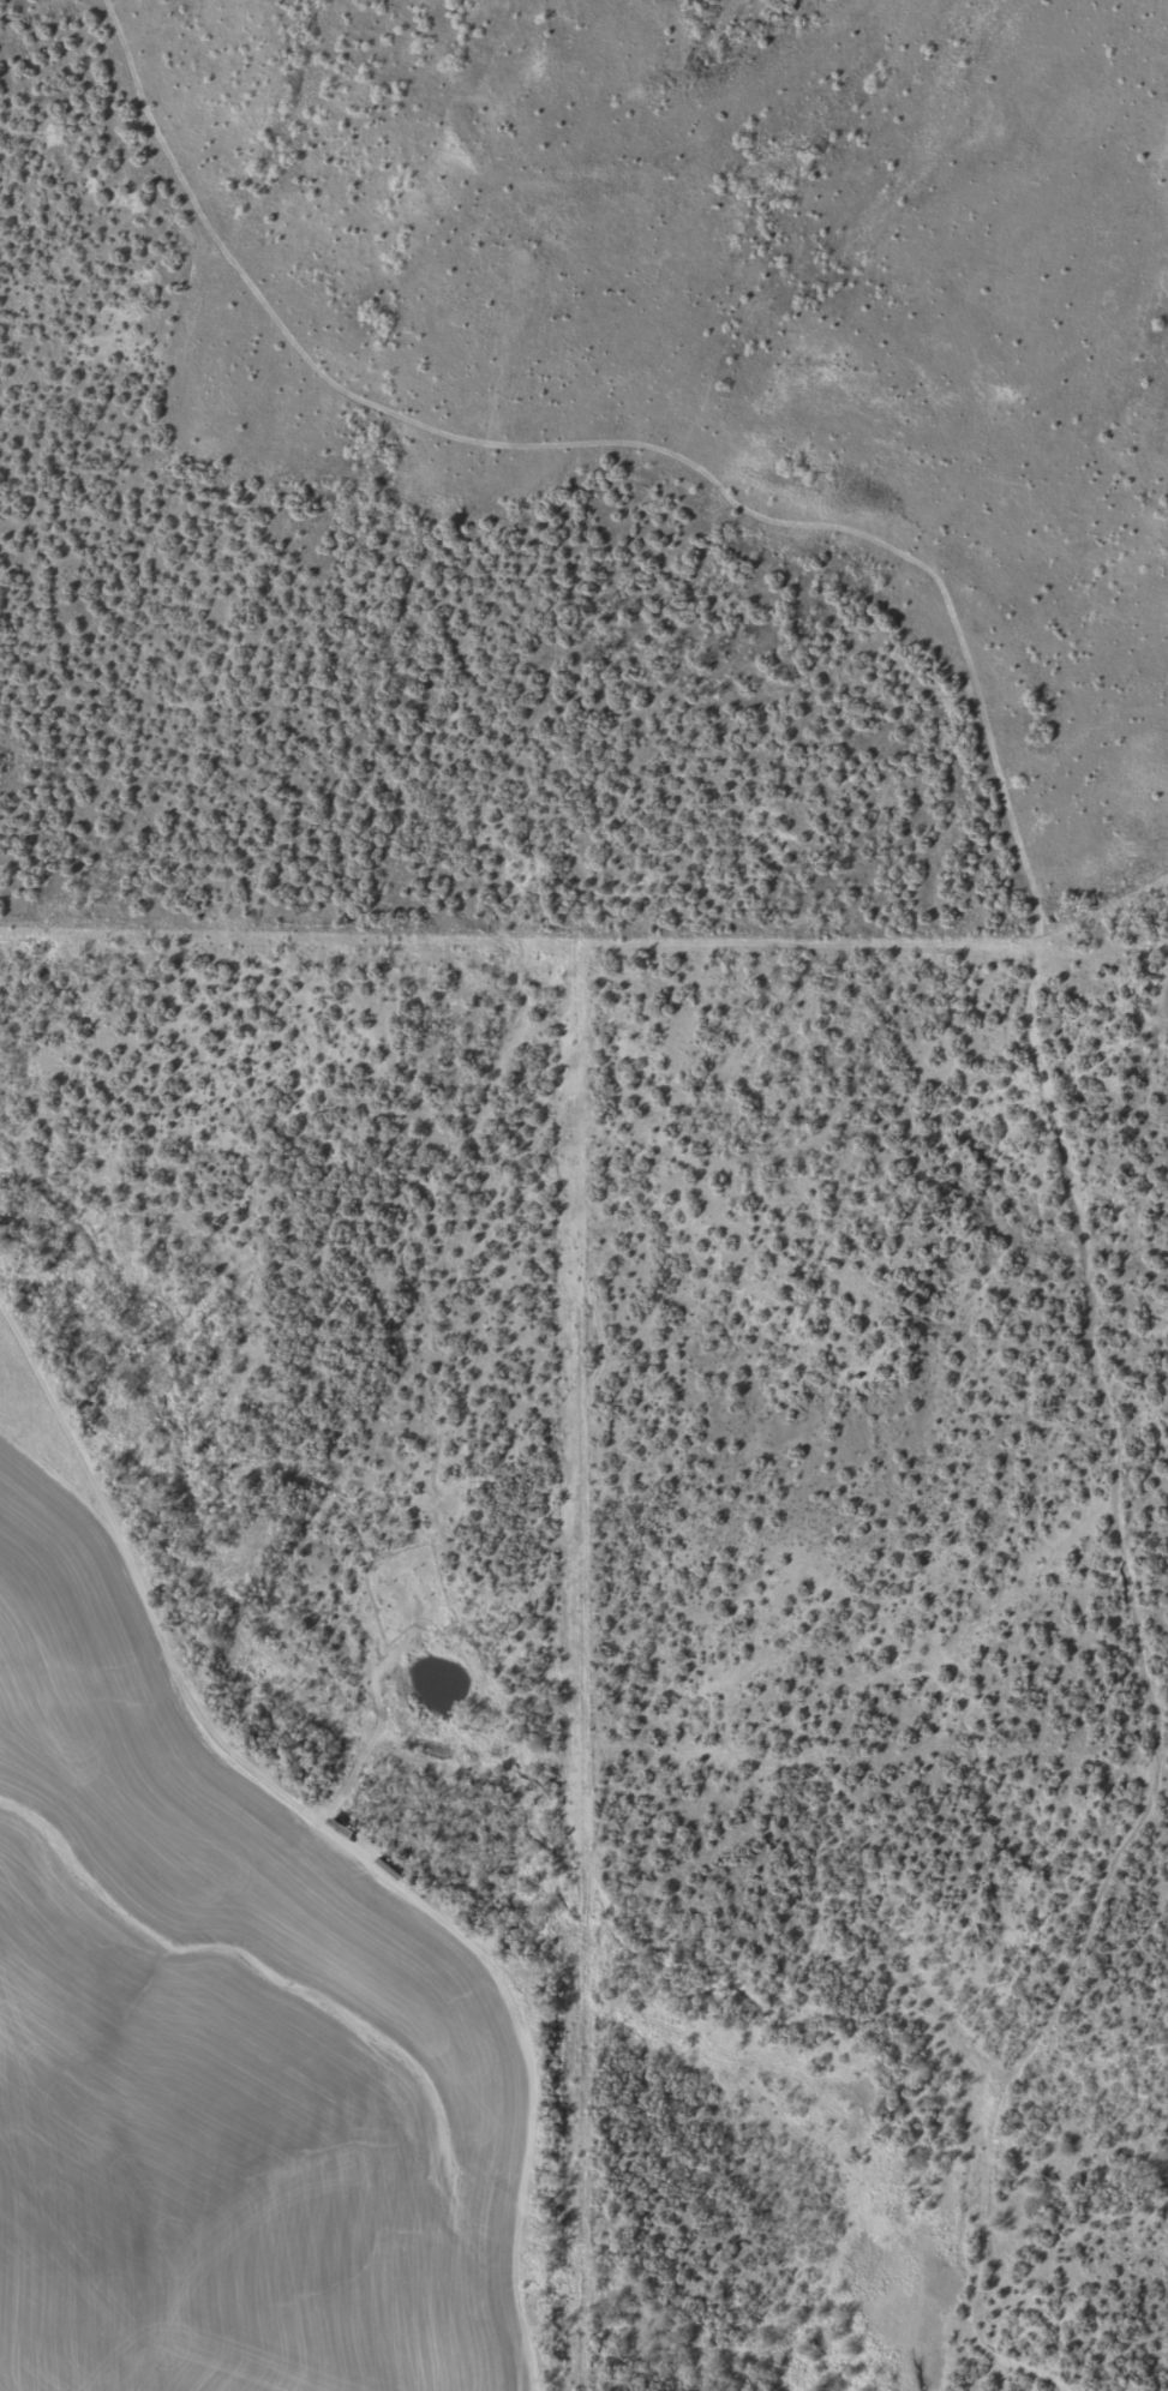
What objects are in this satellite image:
road: (1102, 1697)

